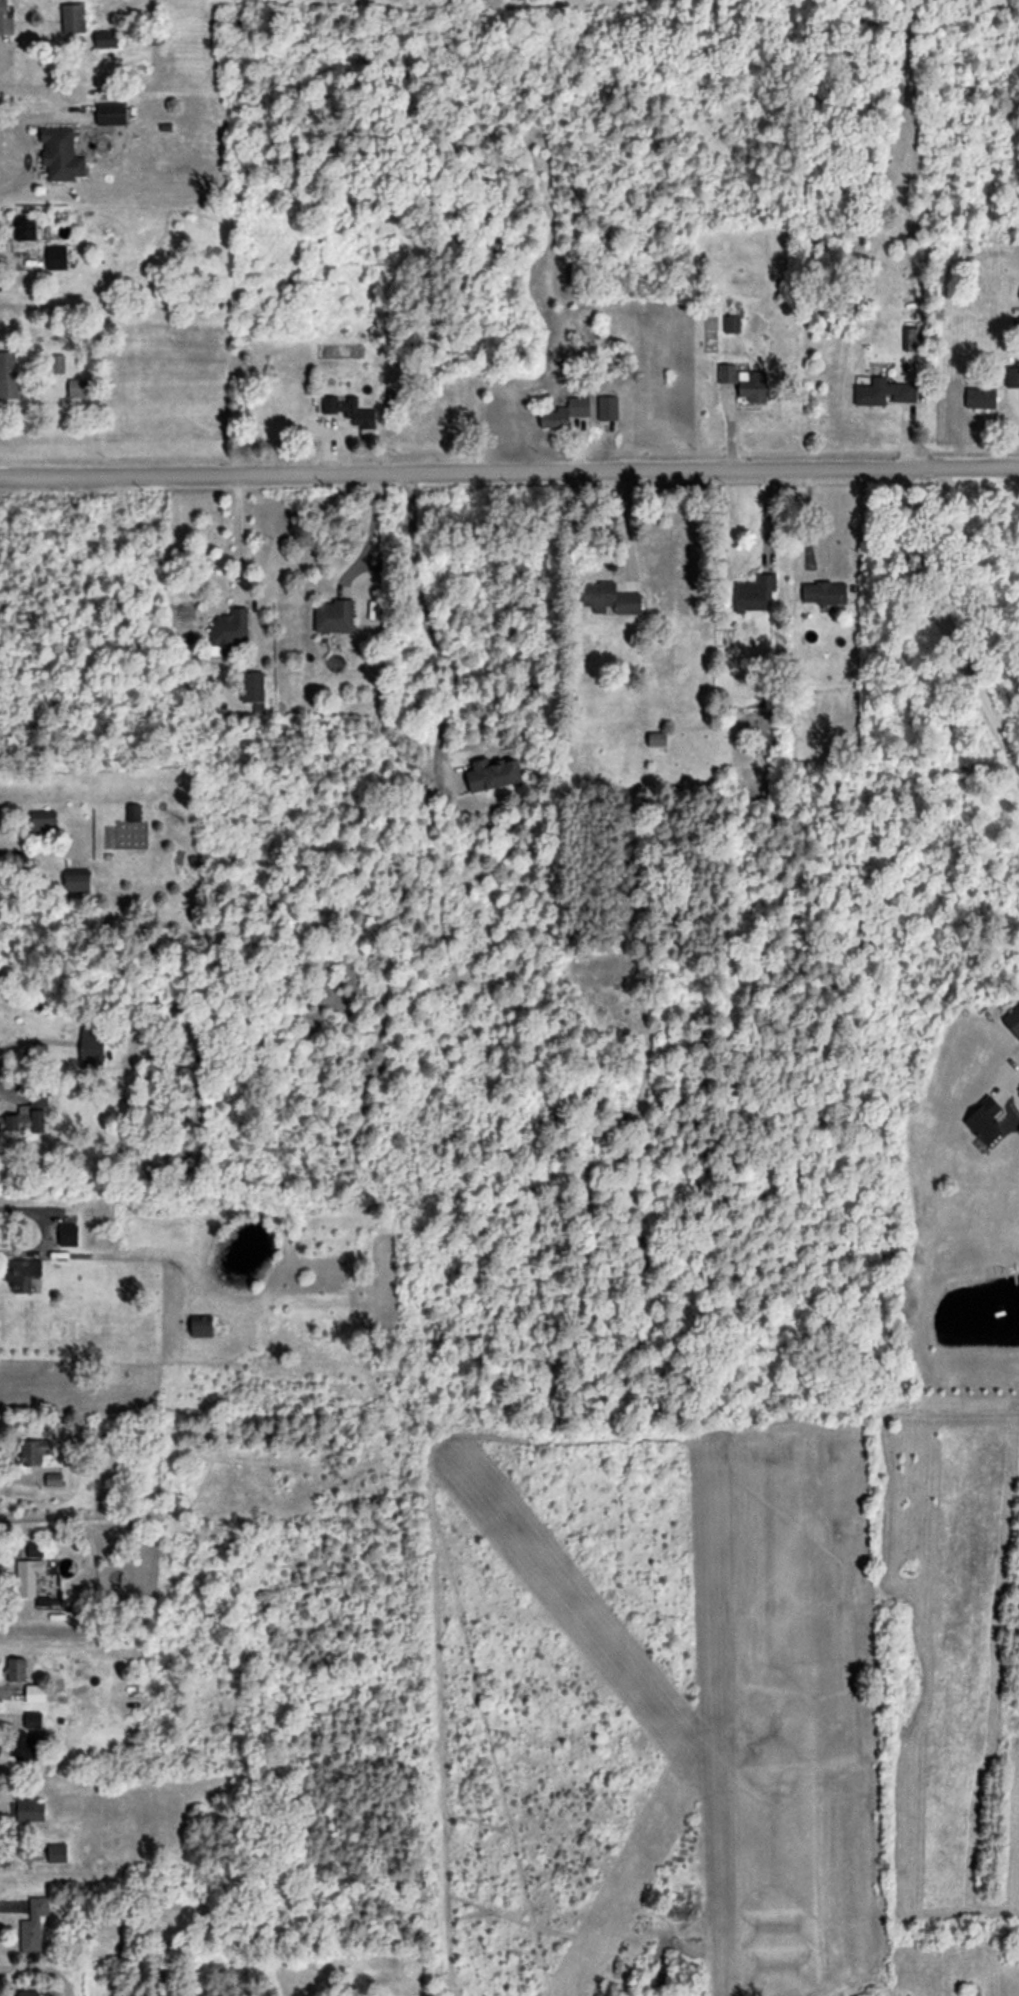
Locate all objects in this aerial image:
building: (73, 17)
building: (5, 20)
building: (106, 38)
building: (110, 113)
building: (60, 153)
road: (26, 154)
building: (30, 229)
road: (18, 256)
building: (56, 256)
building: (58, 363)
building: (8, 375)
building: (1012, 376)
building: (744, 381)
building: (80, 387)
building: (883, 391)
building: (980, 397)
building: (607, 407)
building: (349, 410)
building: (565, 412)
road: (509, 469)
road: (807, 520)
road: (624, 523)
road: (237, 527)
road: (371, 532)
building: (755, 592)
building: (824, 592)
building: (609, 598)
building: (333, 616)
road: (426, 627)
road: (941, 627)
building: (230, 628)
building: (253, 689)
building: (492, 774)
building: (132, 811)
building: (43, 820)
road: (27, 852)
building: (77, 879)
building: (1012, 1020)
building: (91, 1047)
road: (1000, 1090)
building: (28, 1115)
building: (984, 1120)
road: (36, 1214)
building: (68, 1234)
road: (115, 1253)
building: (19, 1276)
building: (201, 1325)
building: (34, 1450)
building: (29, 1569)
building: (16, 1669)
building: (38, 1692)
building: (28, 1746)
building: (27, 1809)
building: (33, 1924)
road: (42, 1967)
building: (30, 1993)

